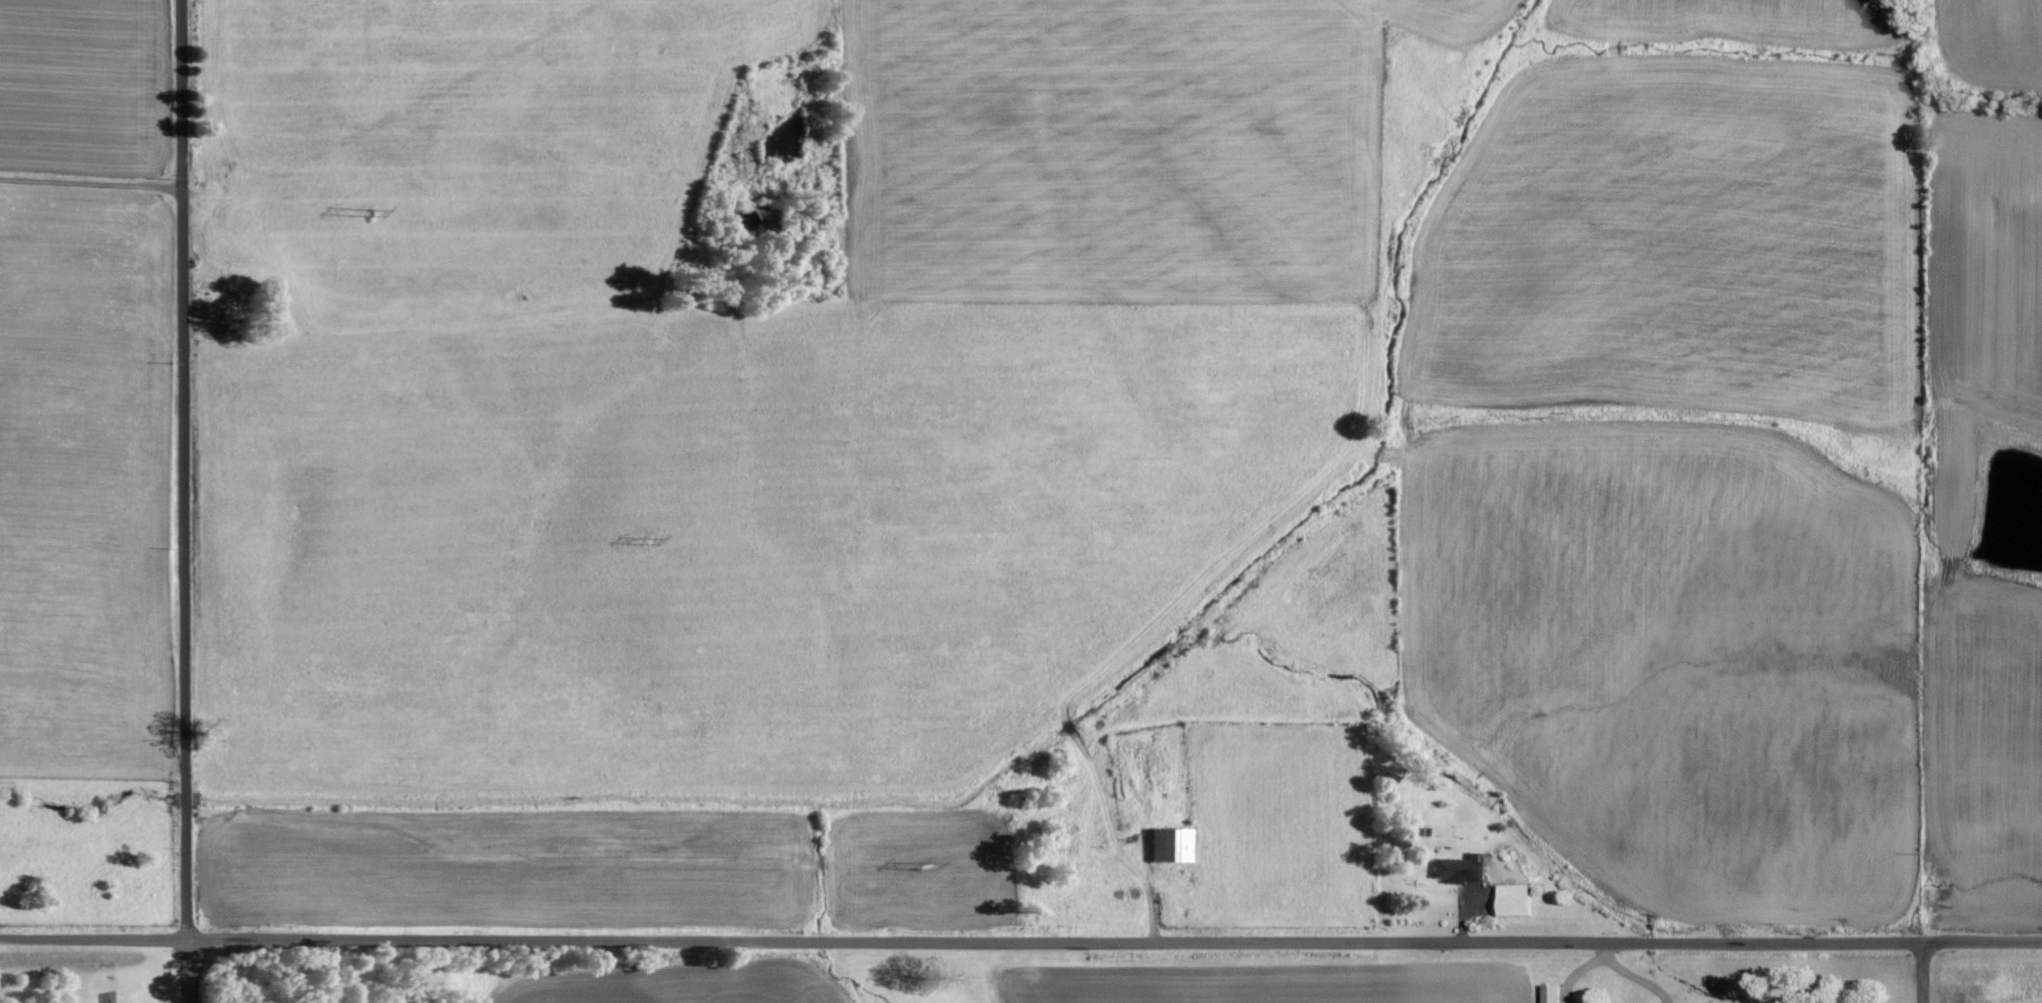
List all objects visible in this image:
road: (89, 182)
power tower: (365, 219)
road: (179, 468)
power tower: (641, 540)
building: (1171, 845)
power tower: (921, 868)
building: (1462, 868)
building: (1521, 900)
road: (91, 936)
road: (568, 940)
road: (1983, 940)
road: (1439, 942)
road: (1604, 950)
road: (1610, 961)
road: (183, 970)
road: (1926, 972)
building: (1556, 993)

